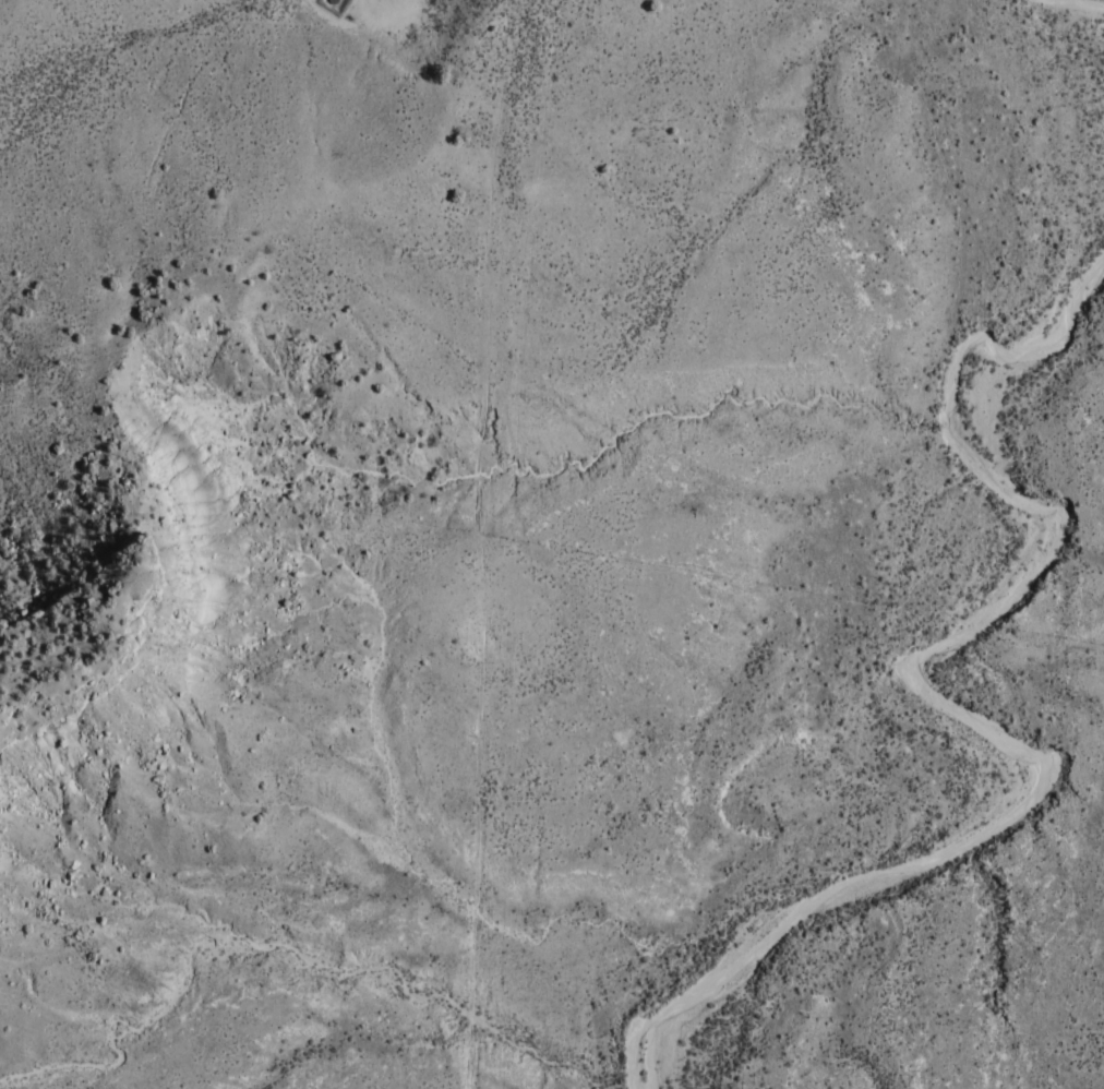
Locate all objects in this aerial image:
river: (1078, 36)
road: (475, 543)
river: (895, 697)

